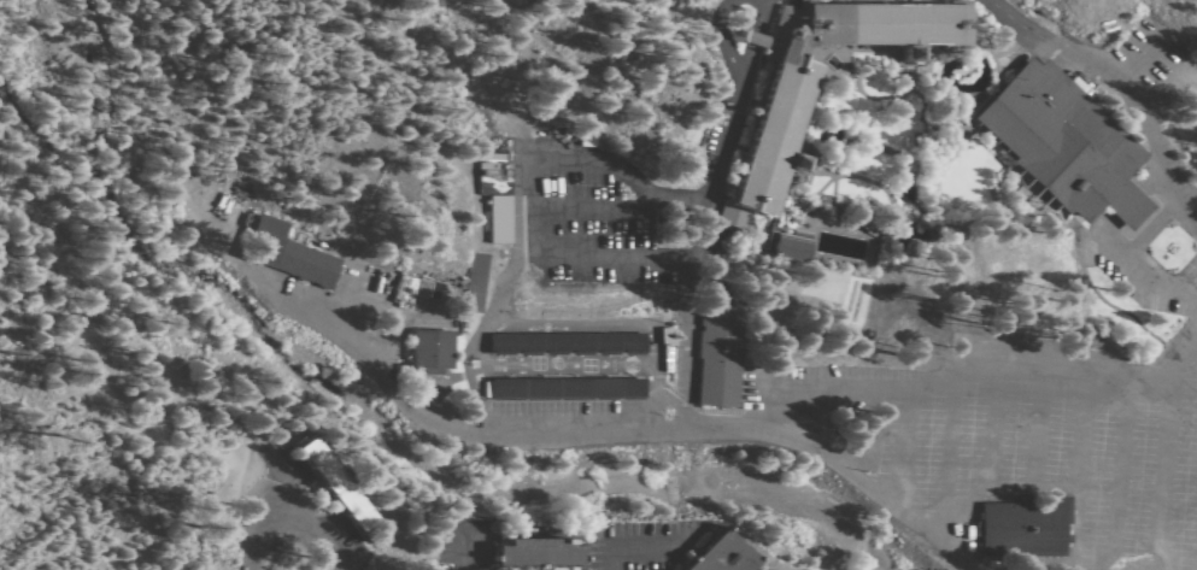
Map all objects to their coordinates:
parking lot: (991, 2)
road: (1089, 28)
building: (735, 33)
building: (778, 34)
road: (716, 35)
road: (749, 36)
building: (755, 39)
building: (914, 52)
building: (990, 58)
parking lot: (1117, 60)
road: (1131, 63)
road: (1169, 64)
road: (1098, 80)
building: (785, 110)
building: (1056, 137)
building: (585, 141)
road: (586, 157)
road: (712, 160)
building: (798, 161)
building: (494, 201)
building: (1123, 202)
road: (597, 204)
road: (1187, 211)
road: (1115, 212)
building: (247, 219)
building: (862, 224)
road: (1081, 228)
building: (788, 246)
building: (287, 253)
road: (656, 262)
road: (1117, 262)
road: (1104, 299)
building: (850, 300)
parking lot: (495, 308)
road: (151, 311)
road: (1193, 340)
building: (567, 341)
building: (717, 343)
road: (686, 345)
building: (429, 349)
road: (1014, 353)
road: (1173, 360)
road: (105, 369)
road: (634, 383)
building: (567, 387)
road: (589, 388)
road: (540, 389)
road: (494, 392)
road: (1173, 393)
parking lot: (1026, 421)
road: (630, 429)
road: (999, 435)
road: (973, 470)
road: (858, 480)
road: (1102, 480)
road: (1163, 481)
building: (335, 483)
building: (1023, 527)
road: (310, 529)
road: (253, 537)
road: (628, 547)
road: (459, 551)
building: (539, 552)
building: (721, 554)

